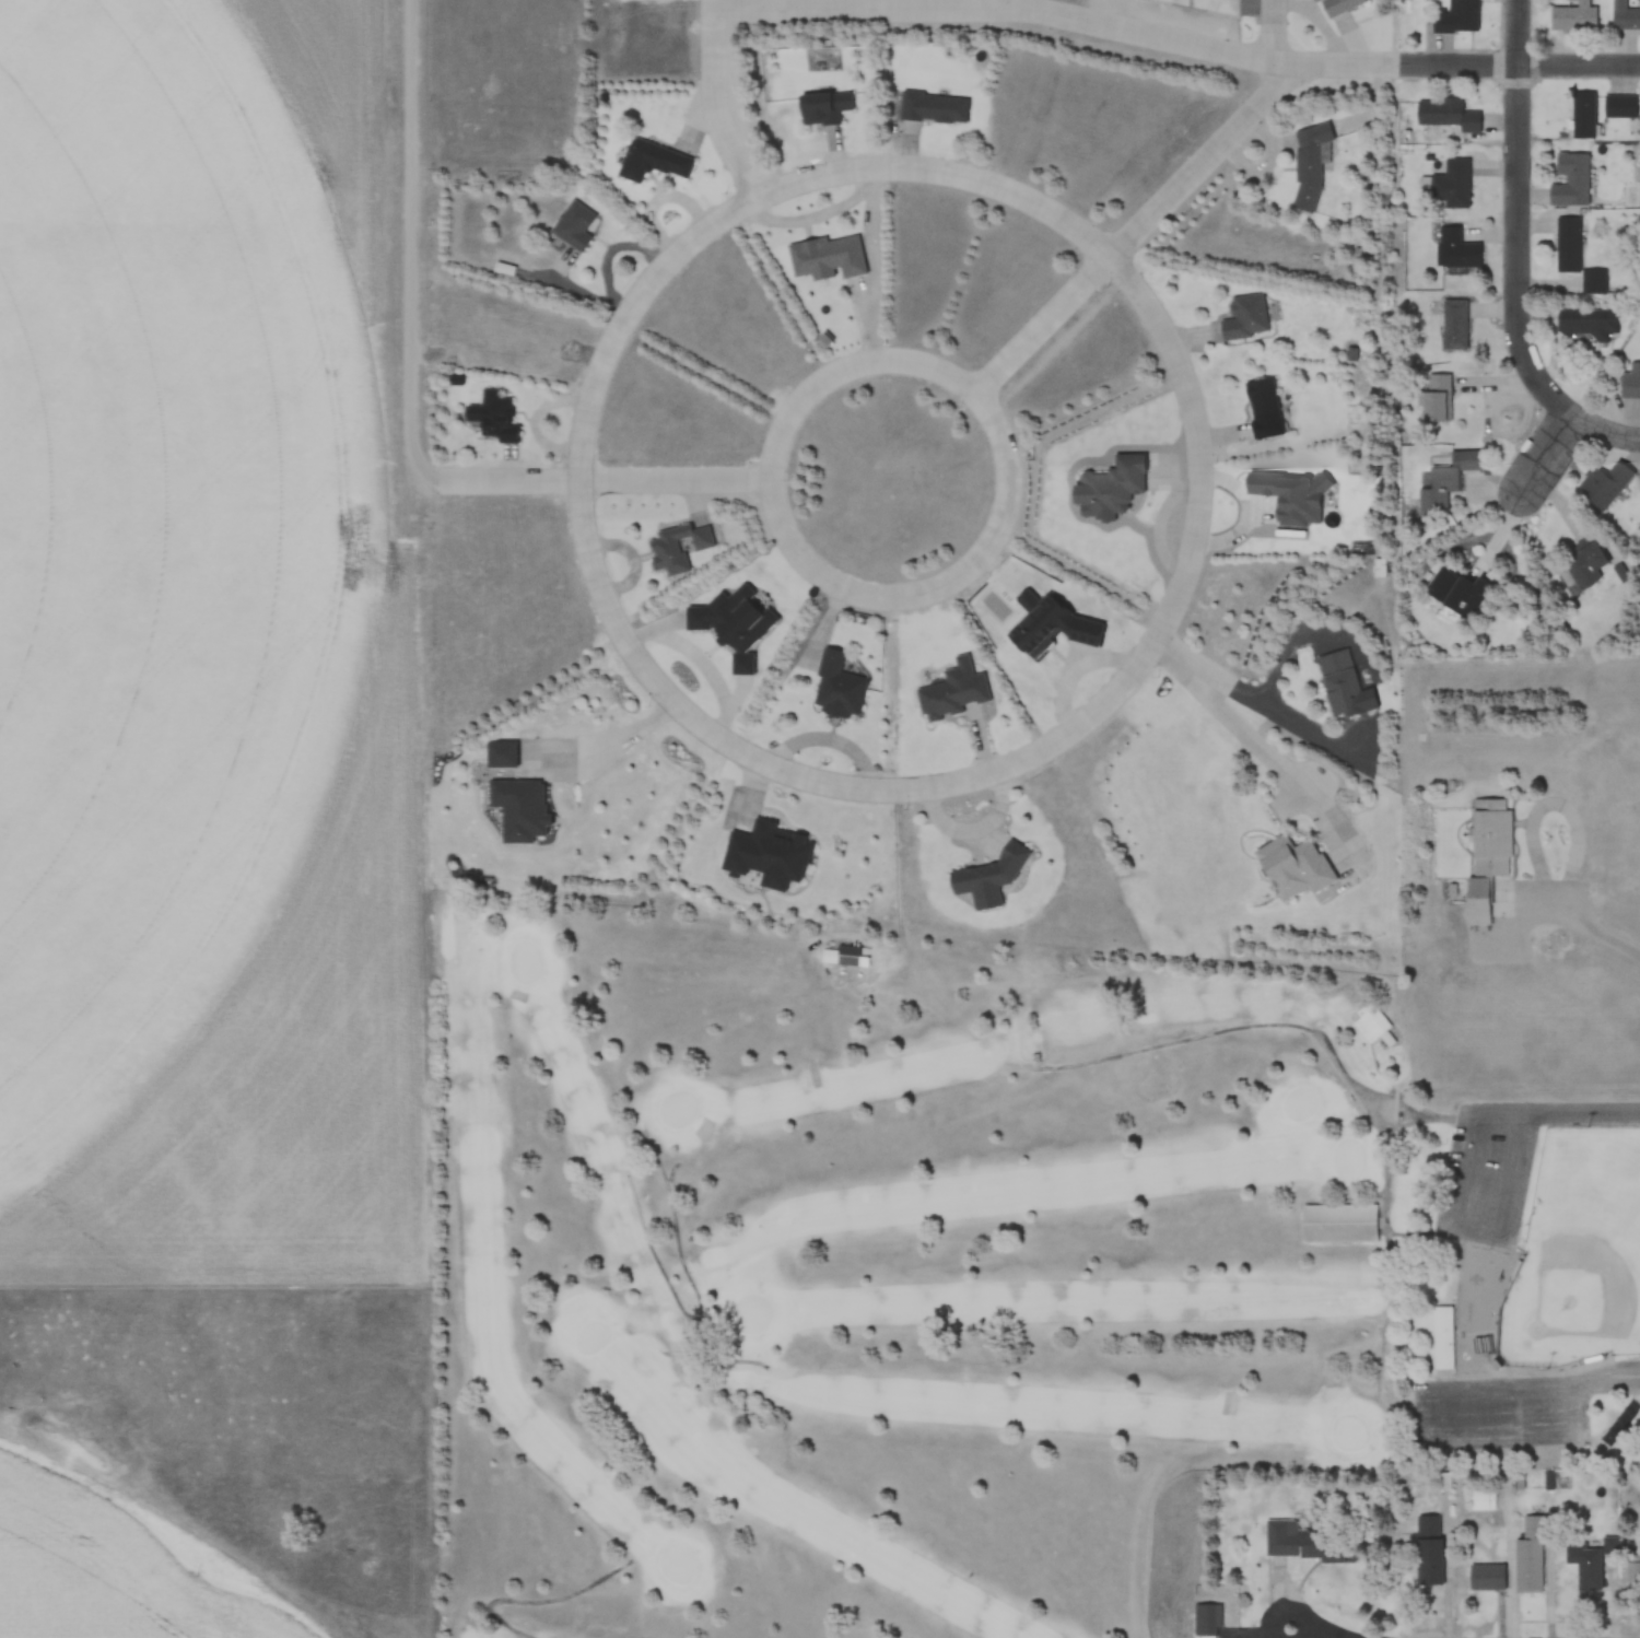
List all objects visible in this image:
road: (1009, 1)
building: (1338, 7)
building: (1573, 16)
building: (1625, 16)
building: (1455, 17)
road: (1179, 36)
road: (722, 103)
building: (1618, 107)
building: (820, 108)
building: (930, 108)
building: (1445, 115)
building: (1582, 116)
building: (649, 162)
building: (1307, 166)
building: (1570, 180)
building: (1451, 185)
park: (1637, 202)
road: (1156, 208)
building: (573, 226)
building: (1568, 245)
building: (1456, 250)
road: (1518, 251)
building: (824, 259)
road: (413, 260)
building: (505, 270)
building: (1594, 282)
building: (1243, 318)
building: (1586, 324)
building: (1453, 325)
building: (824, 340)
building: (1630, 383)
building: (1434, 400)
building: (1261, 409)
building: (494, 418)
road: (1544, 455)
road: (1012, 479)
building: (1446, 479)
road: (623, 480)
building: (1601, 483)
building: (675, 547)
building: (1583, 562)
building: (1452, 592)
building: (837, 688)
building: (1337, 692)
building: (947, 694)
road: (1268, 703)
road: (675, 704)
road: (1261, 740)
building: (517, 810)
building: (1483, 855)
building: (1290, 869)
road: (1577, 923)
building: (848, 956)
building: (1372, 1028)
road: (1520, 1114)
park: (1487, 1185)
building: (1337, 1224)
park: (883, 1265)
park: (1519, 1298)
building: (1442, 1337)
road: (1624, 1374)
parking lot: (1501, 1412)
road: (1581, 1436)
building: (1481, 1500)
building: (1289, 1541)
building: (1527, 1558)
building: (1425, 1563)
building: (1583, 1566)
building: (1483, 1579)
building: (1206, 1621)
road: (1325, 1634)

